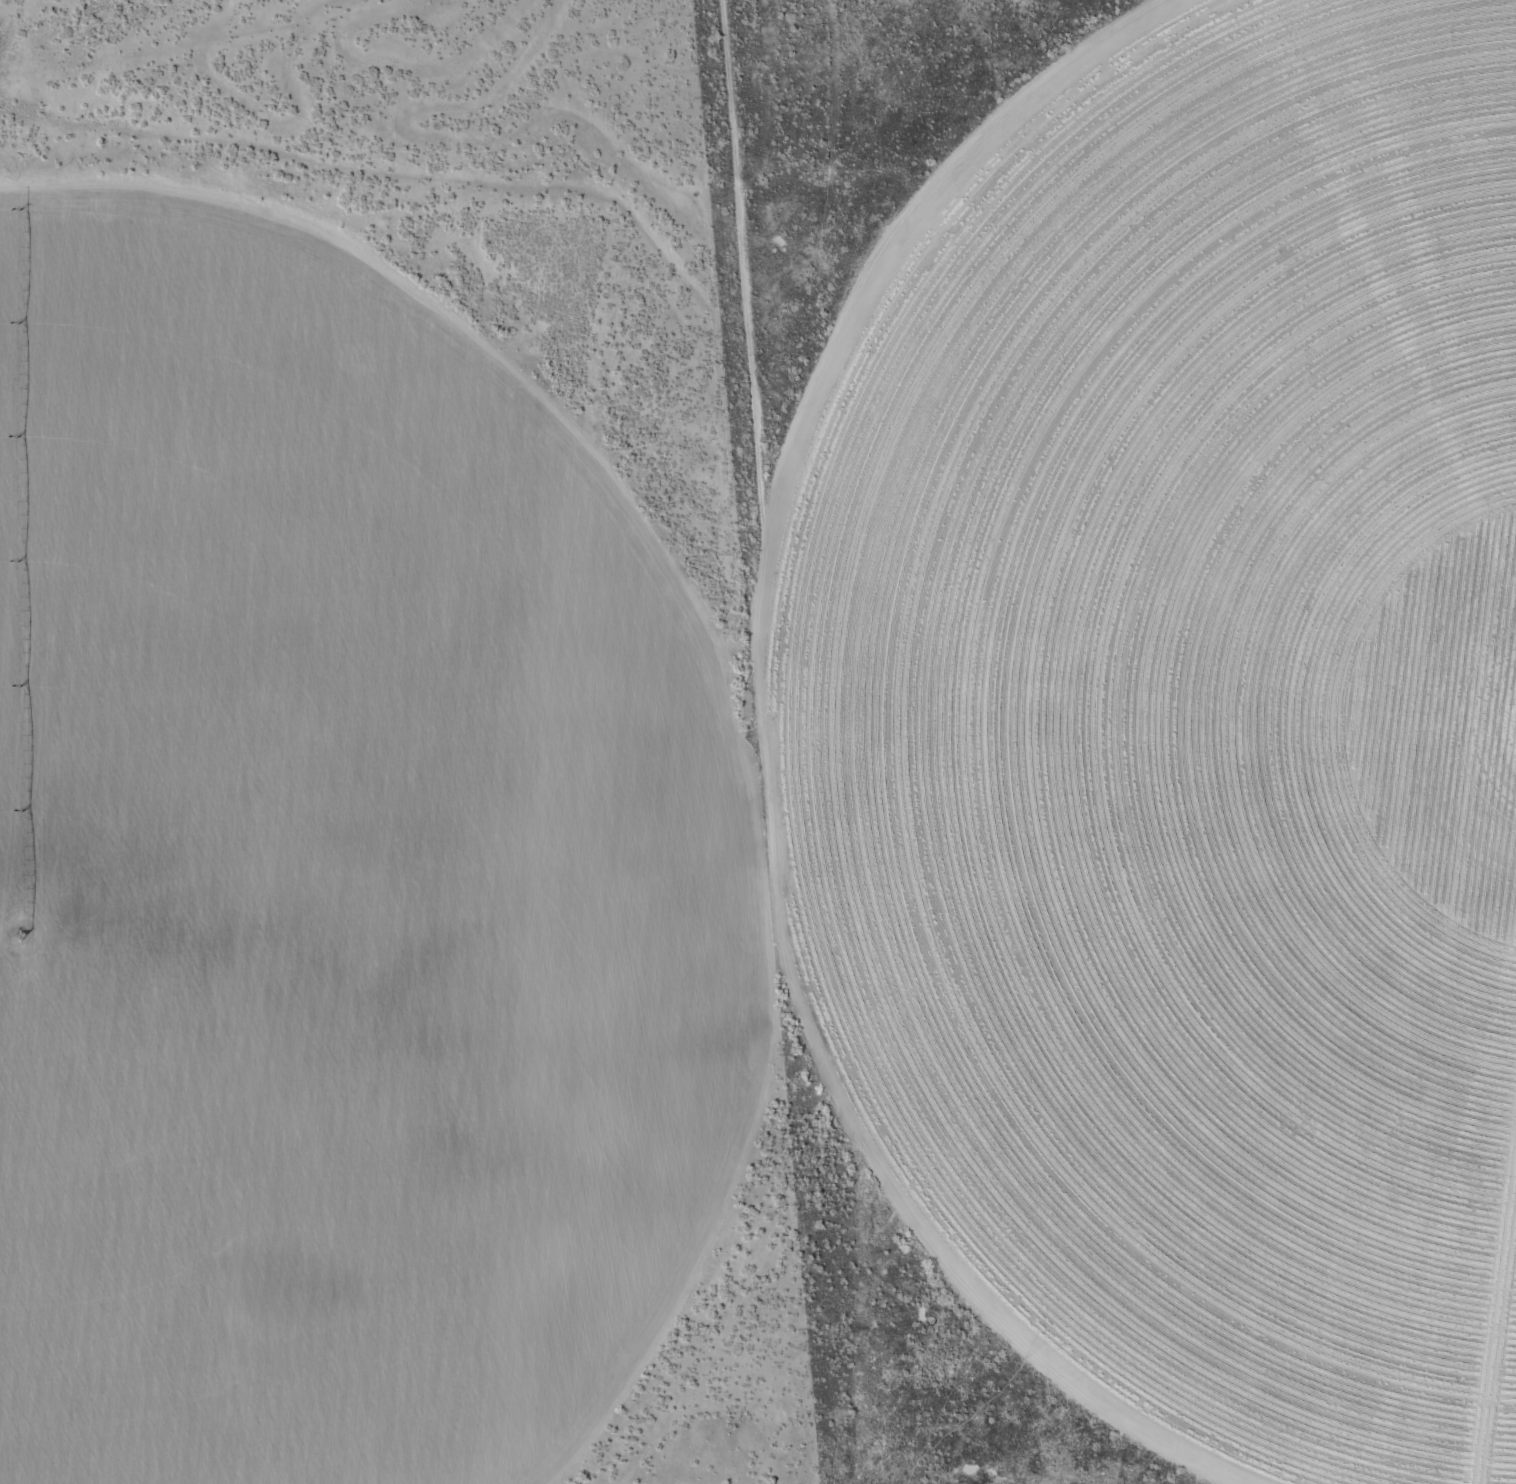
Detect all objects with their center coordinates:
road: (1370, 880)

